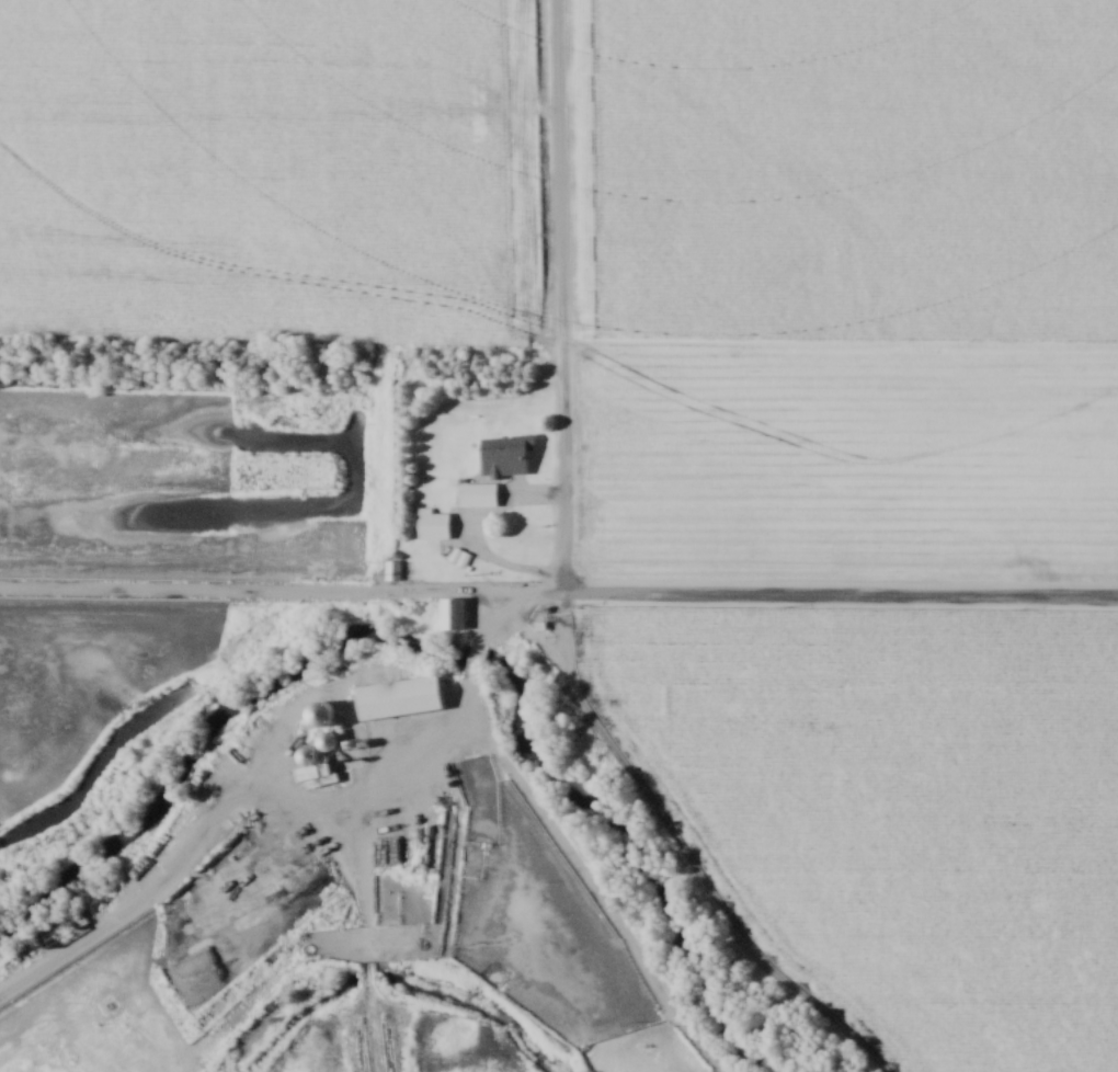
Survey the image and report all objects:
road: (563, 296)
crop: (851, 457)
building: (490, 477)
building: (431, 526)
building: (458, 558)
building: (391, 571)
road: (790, 594)
building: (448, 613)
road: (477, 652)
building: (392, 695)
building: (315, 715)
building: (323, 741)
road: (239, 798)
building: (58, 928)

